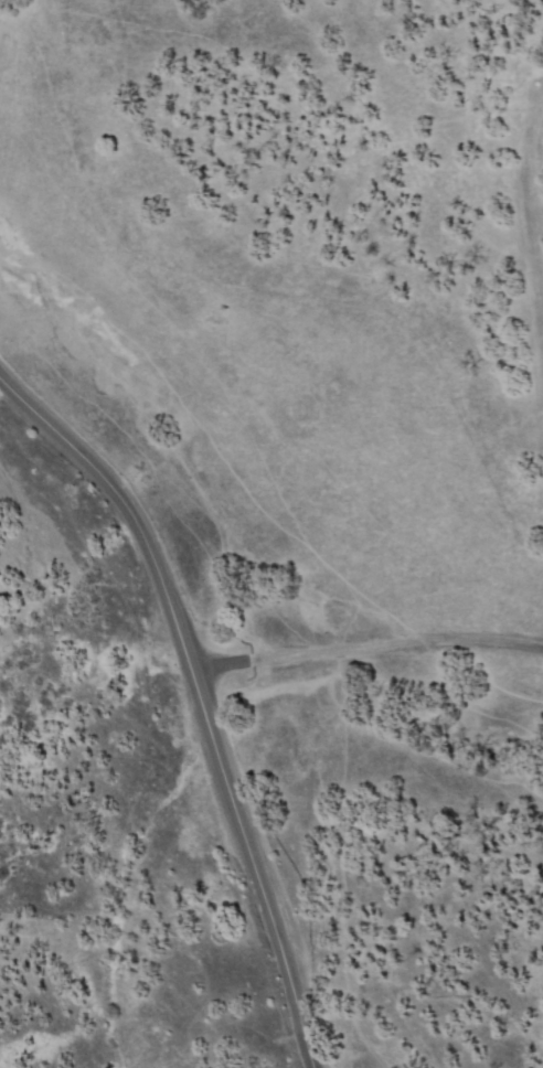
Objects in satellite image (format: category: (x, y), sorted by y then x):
building: (0, 585)
road: (365, 650)
road: (198, 699)

